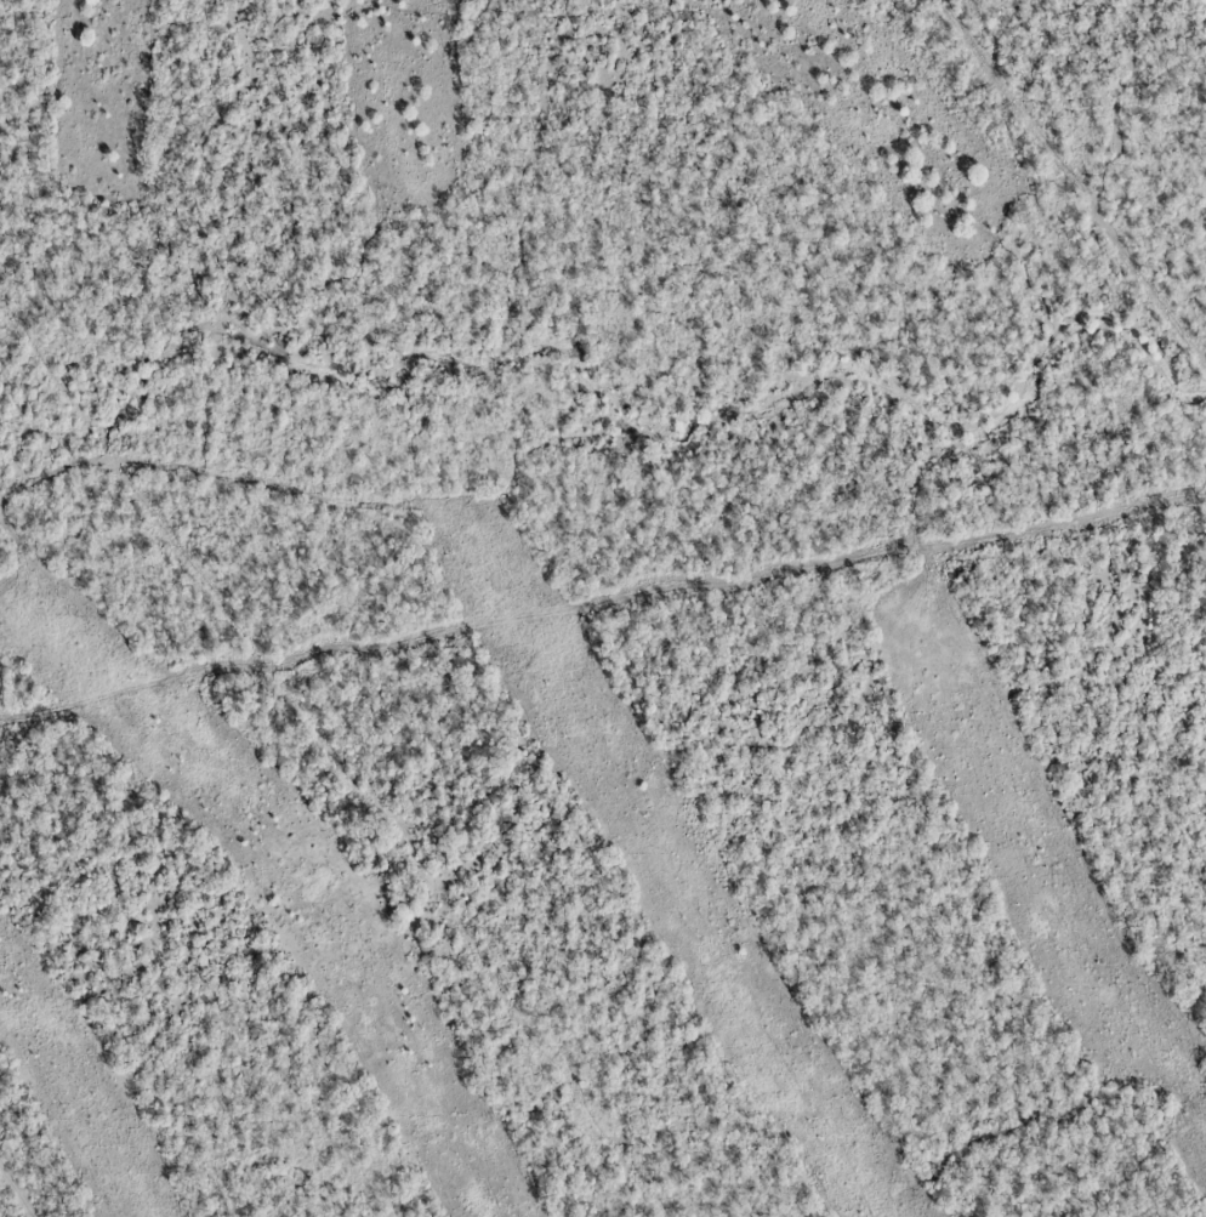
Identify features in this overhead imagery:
road: (160, 1127)

